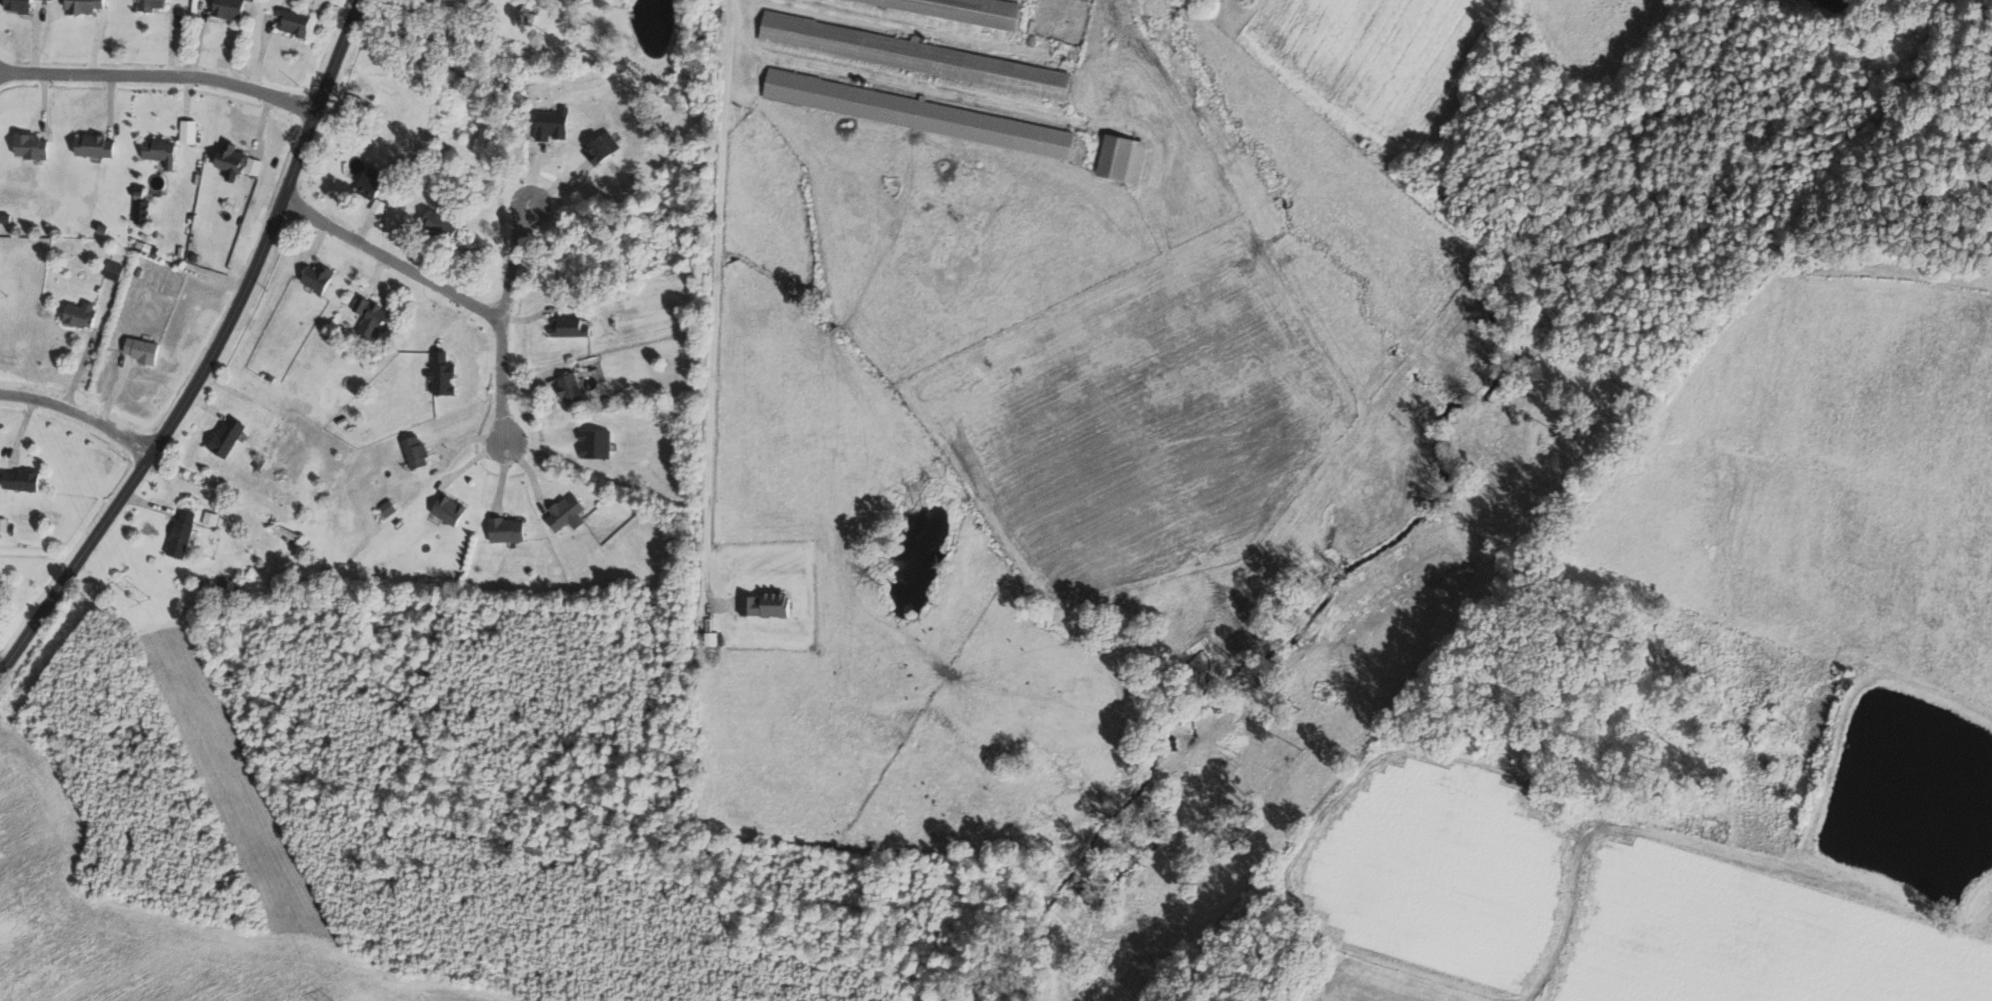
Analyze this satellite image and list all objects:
building: (153, 4)
building: (21, 5)
building: (86, 6)
building: (231, 8)
building: (965, 9)
building: (295, 22)
building: (916, 55)
road: (155, 92)
building: (353, 104)
building: (913, 112)
building: (554, 124)
building: (190, 131)
building: (33, 145)
building: (97, 145)
building: (604, 147)
building: (163, 151)
building: (1125, 157)
building: (239, 161)
building: (372, 182)
building: (443, 223)
road: (393, 262)
building: (320, 277)
road: (717, 299)
power tower: (3, 300)
road: (505, 313)
building: (82, 314)
building: (371, 317)
building: (572, 326)
building: (143, 349)
road: (212, 355)
building: (443, 374)
building: (572, 388)
road: (79, 413)
building: (229, 436)
building: (596, 443)
building: (417, 452)
building: (23, 480)
road: (201, 499)
building: (389, 508)
building: (450, 509)
building: (569, 513)
building: (212, 518)
building: (4, 524)
building: (509, 529)
building: (183, 533)
building: (768, 604)
building: (712, 638)

